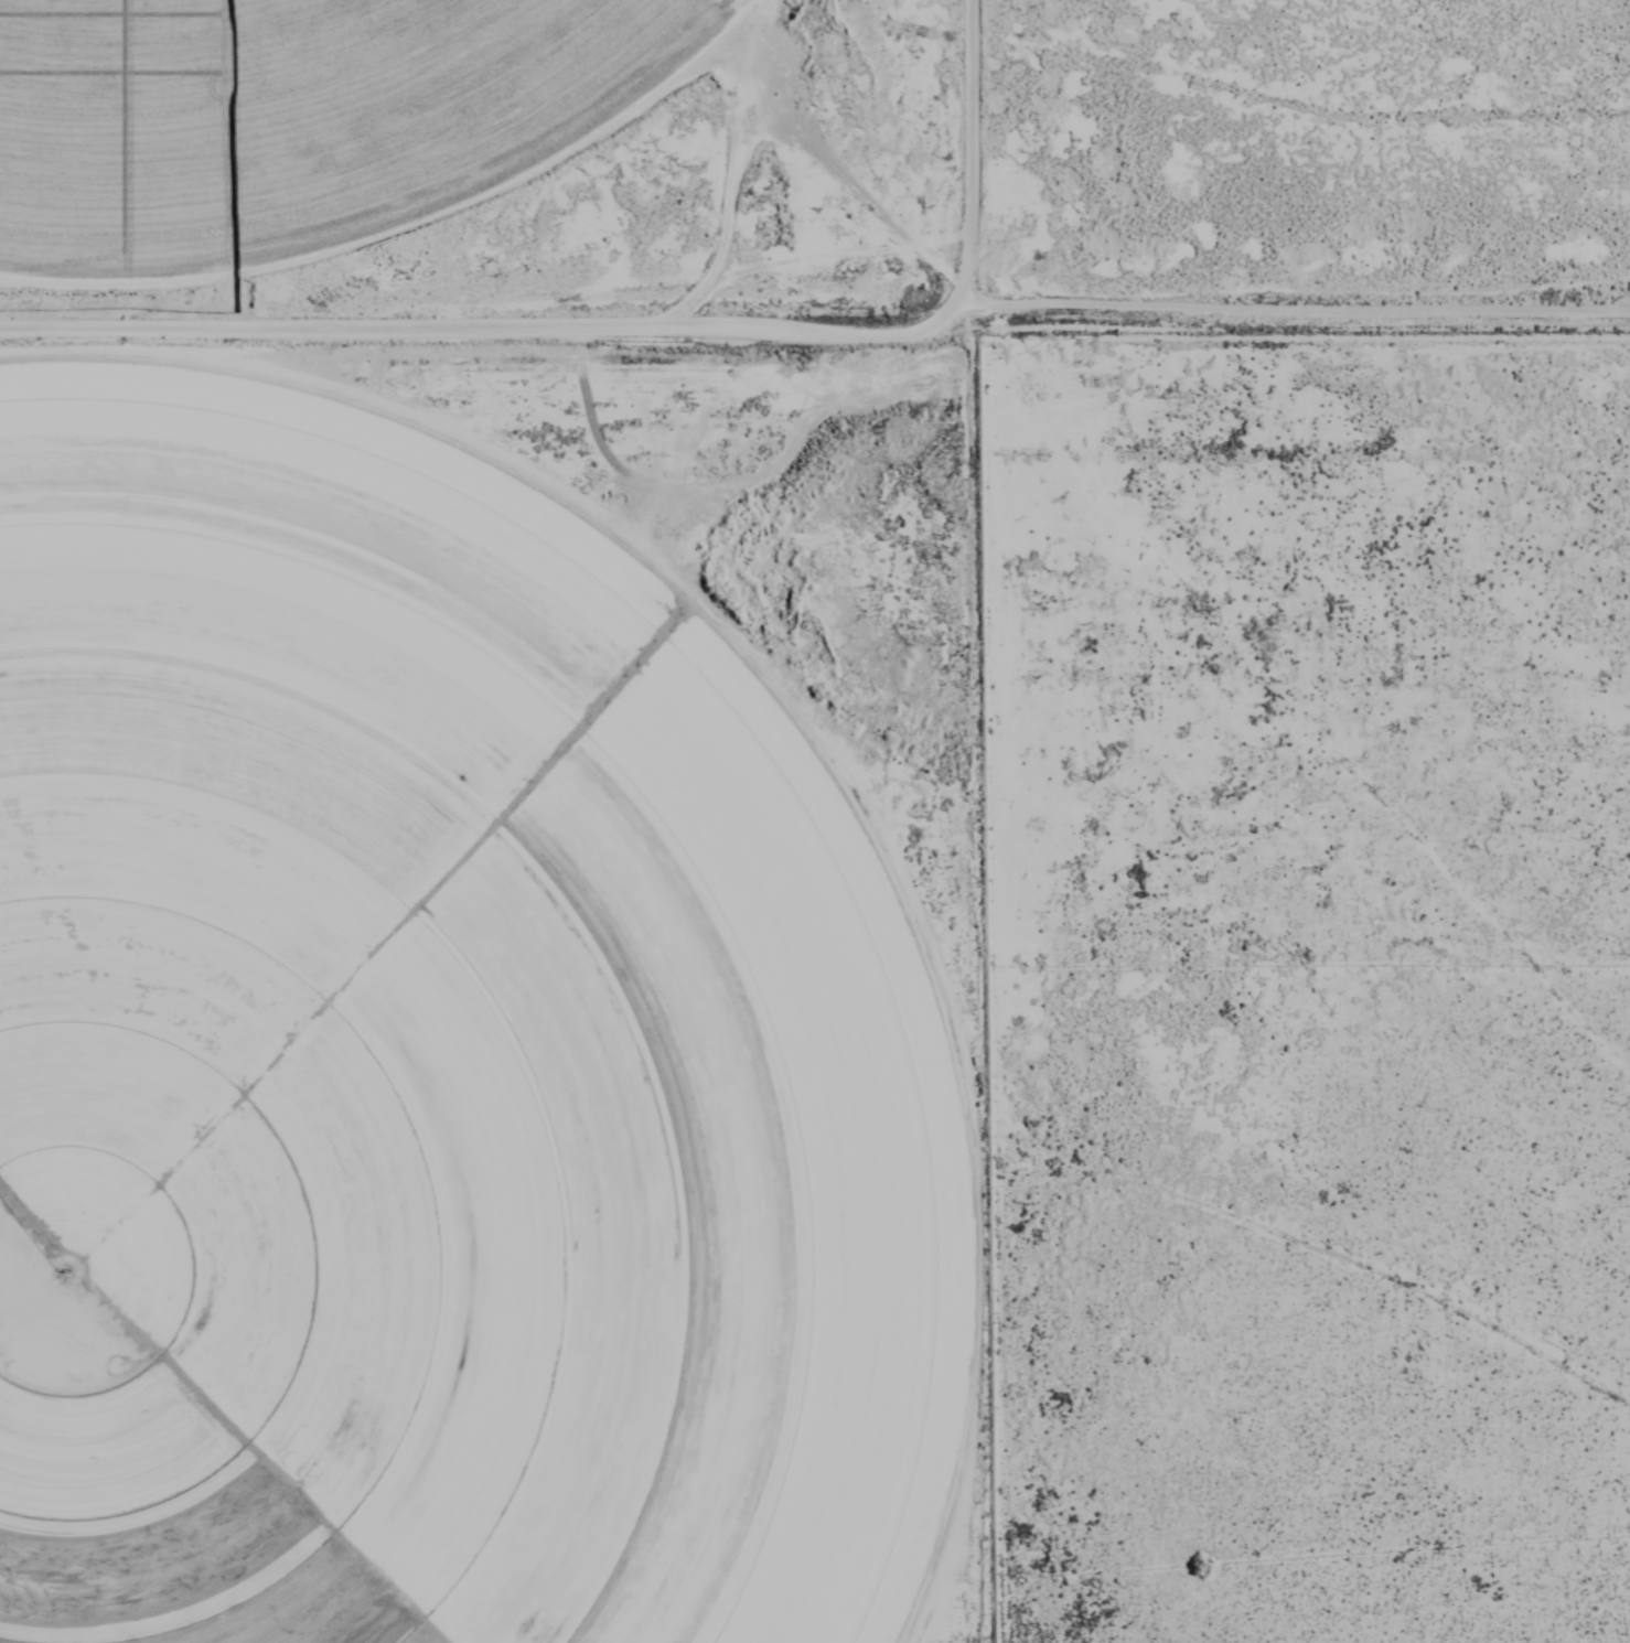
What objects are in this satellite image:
crop: (282, 112)
road: (967, 151)
road: (818, 334)
crop: (442, 1065)

